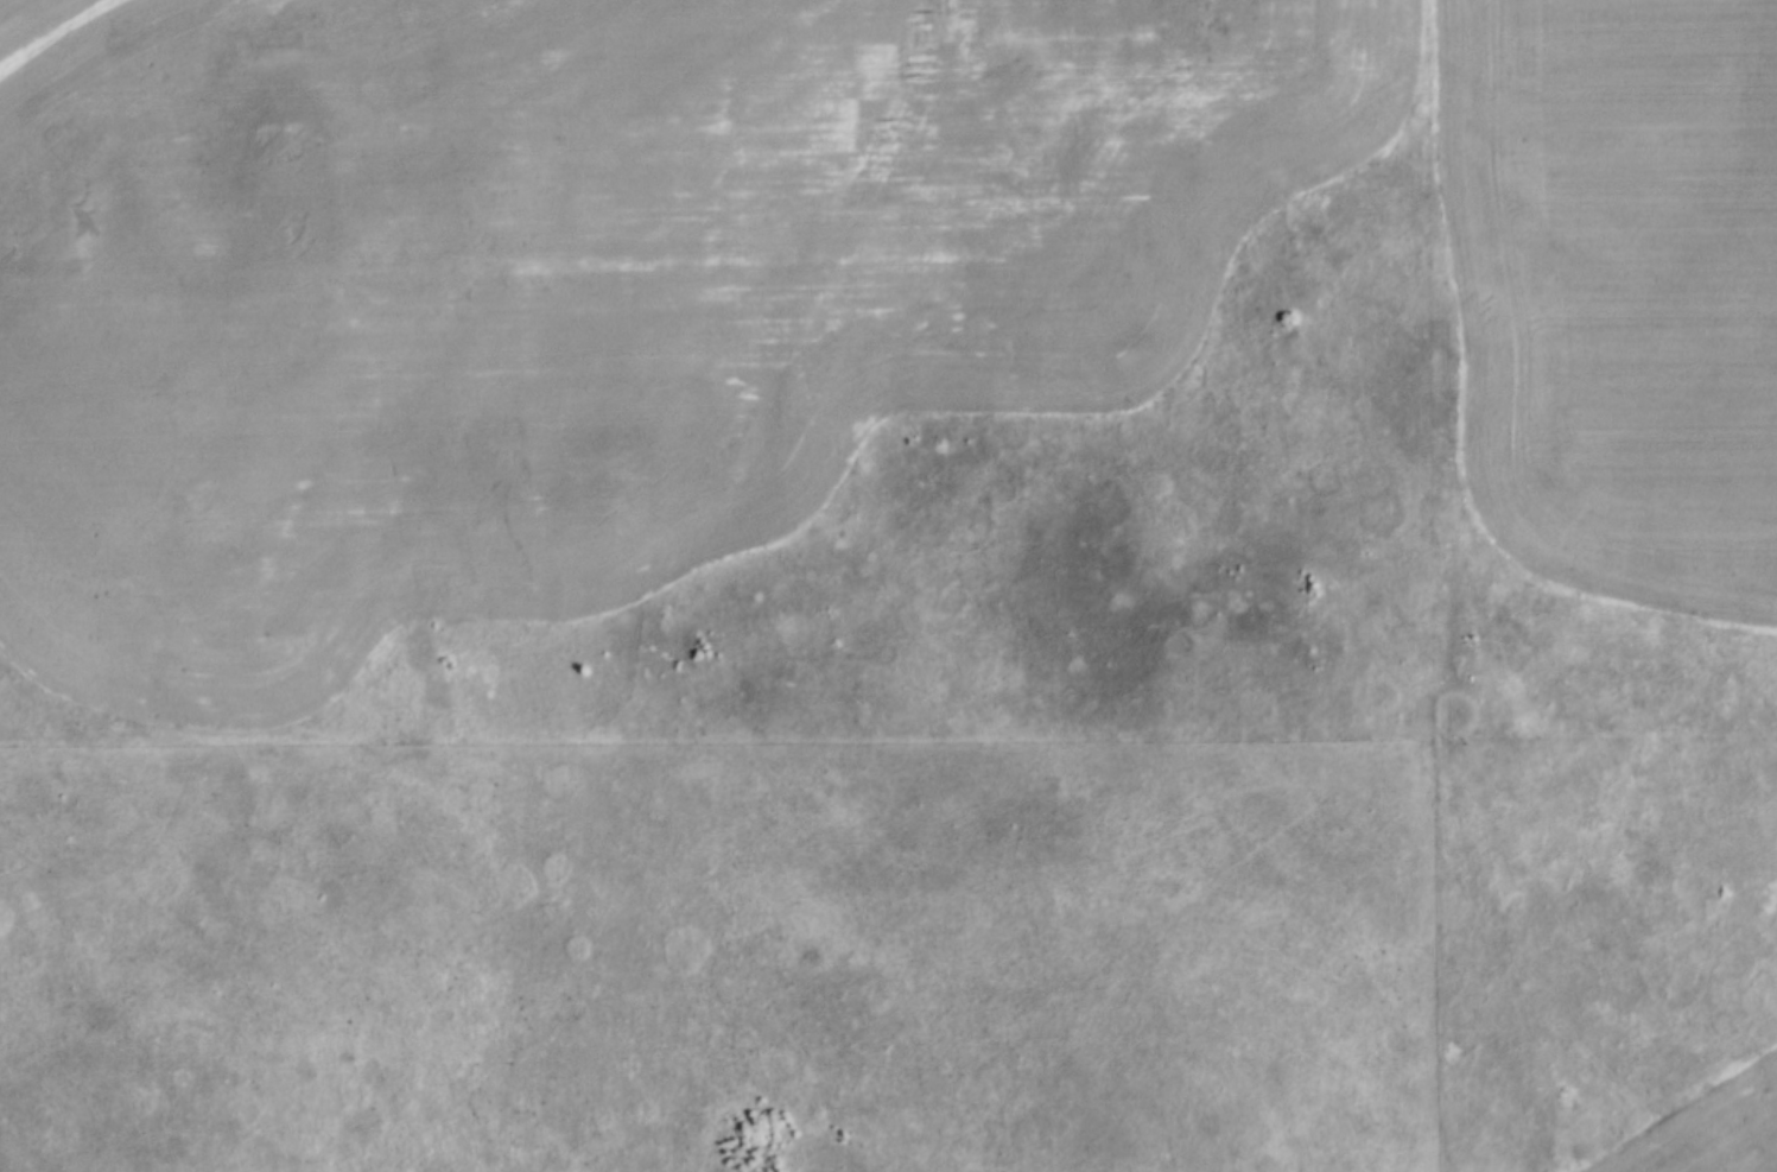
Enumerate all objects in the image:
road: (1456, 132)

